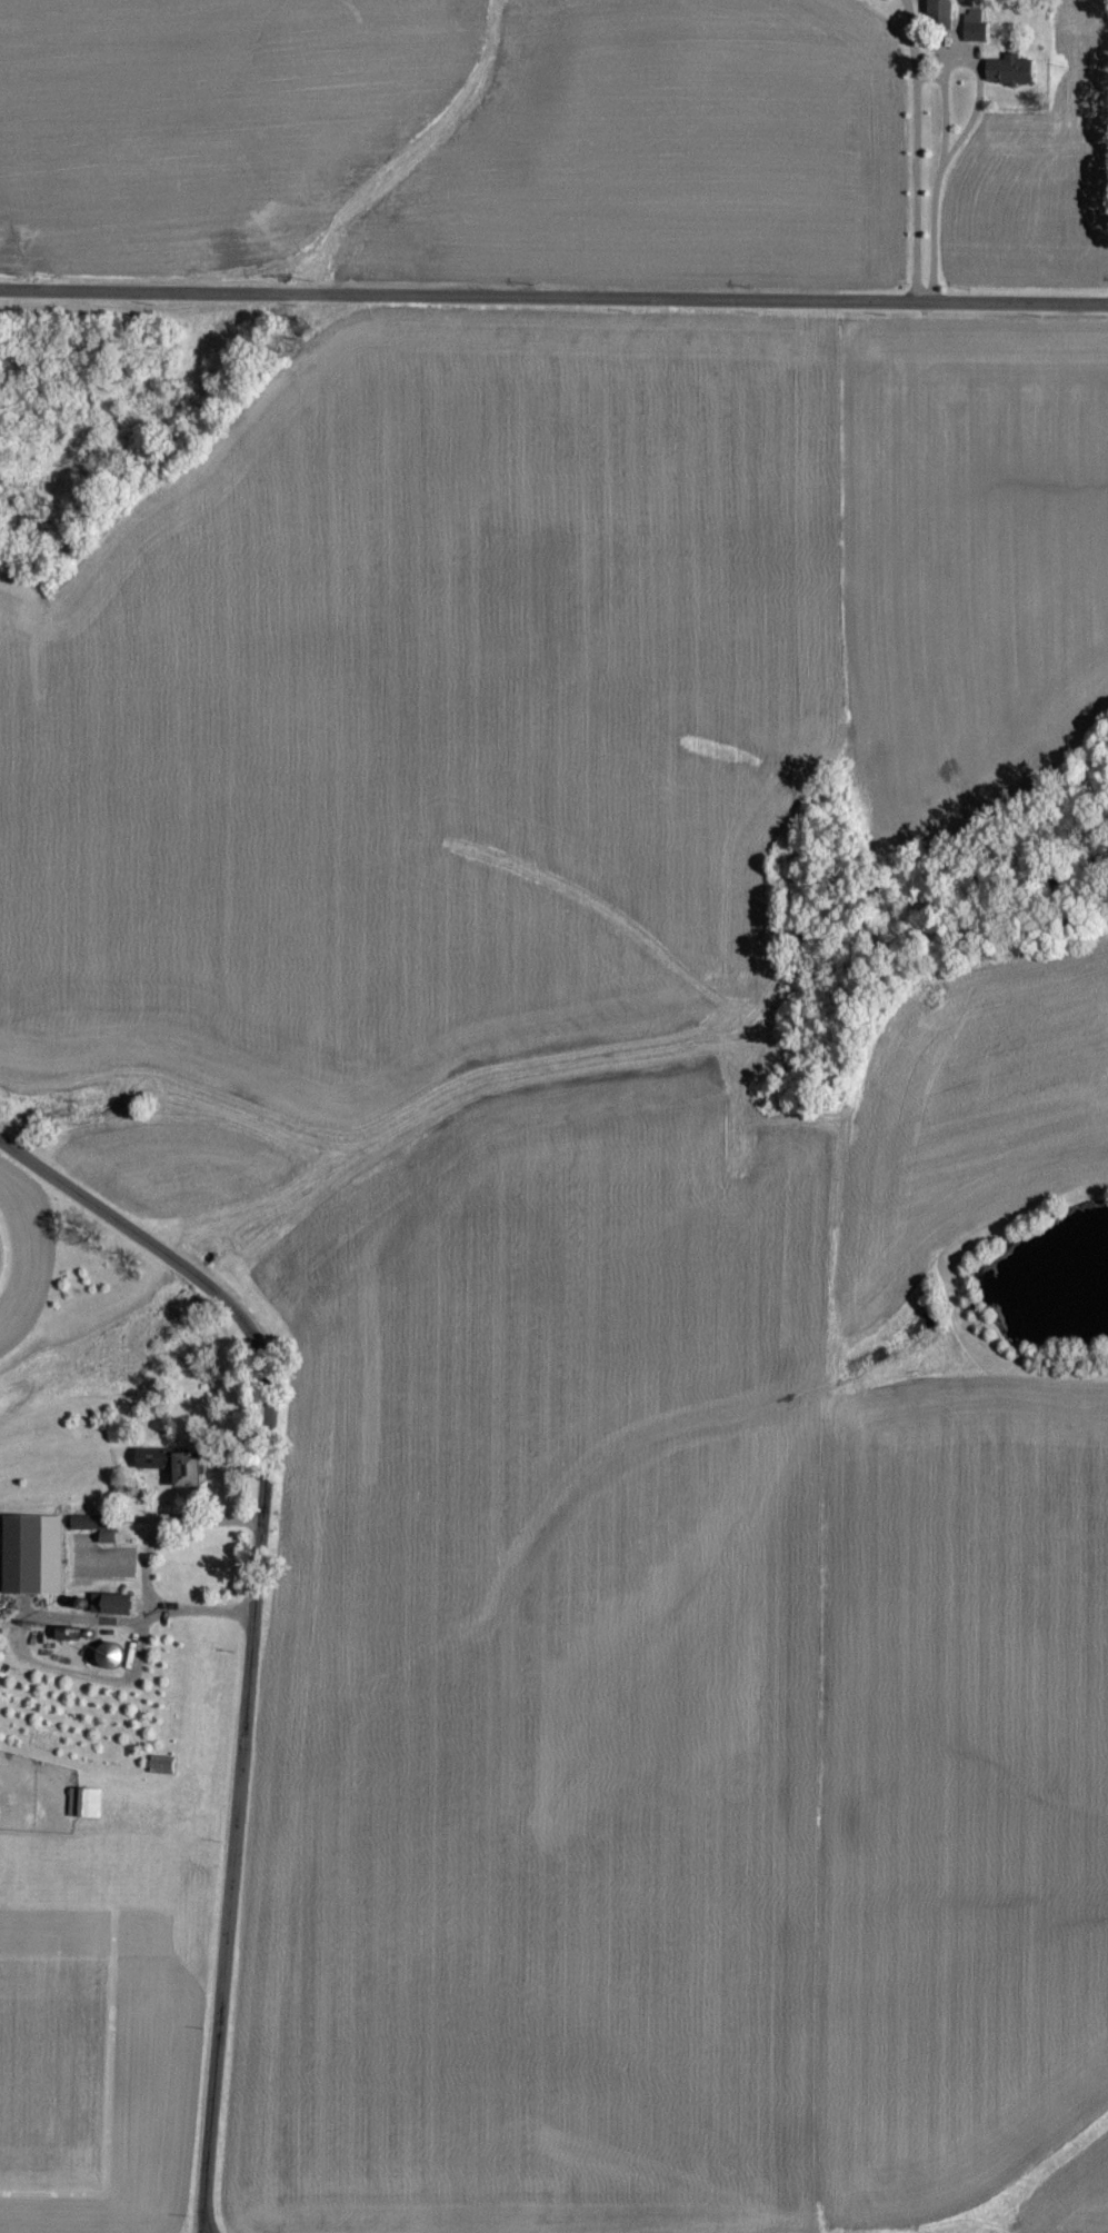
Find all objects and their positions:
building: (938, 13)
building: (974, 26)
building: (1007, 69)
road: (918, 154)
road: (553, 301)
road: (146, 1240)
building: (170, 1463)
building: (30, 1553)
building: (109, 1603)
building: (107, 1654)
road: (240, 1798)
building: (83, 1802)

